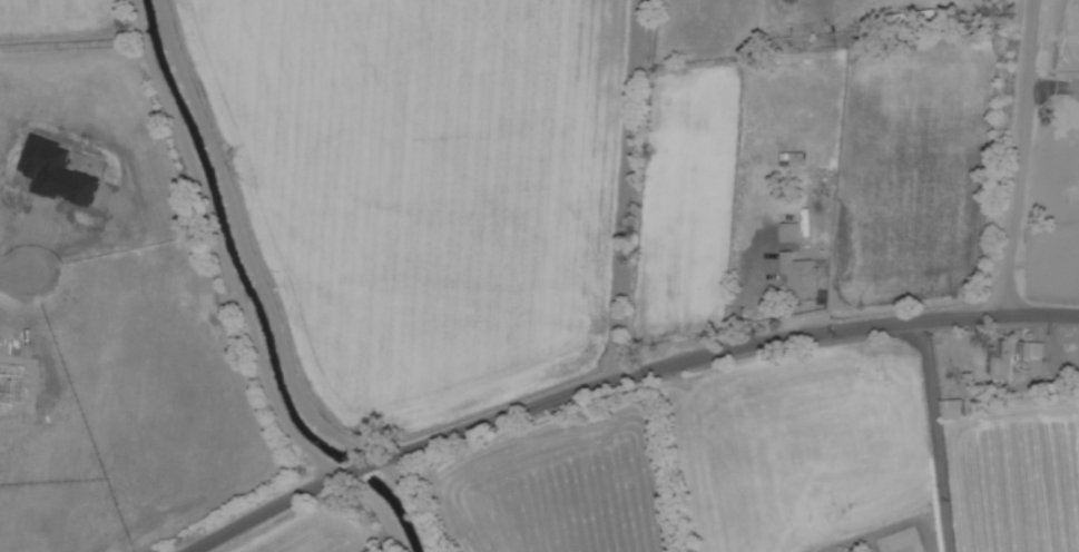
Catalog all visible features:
building: (914, 18)
road: (1020, 157)
building: (794, 159)
road: (627, 190)
building: (791, 231)
building: (802, 275)
building: (1014, 356)
road: (621, 378)
building: (953, 410)
road: (938, 435)

